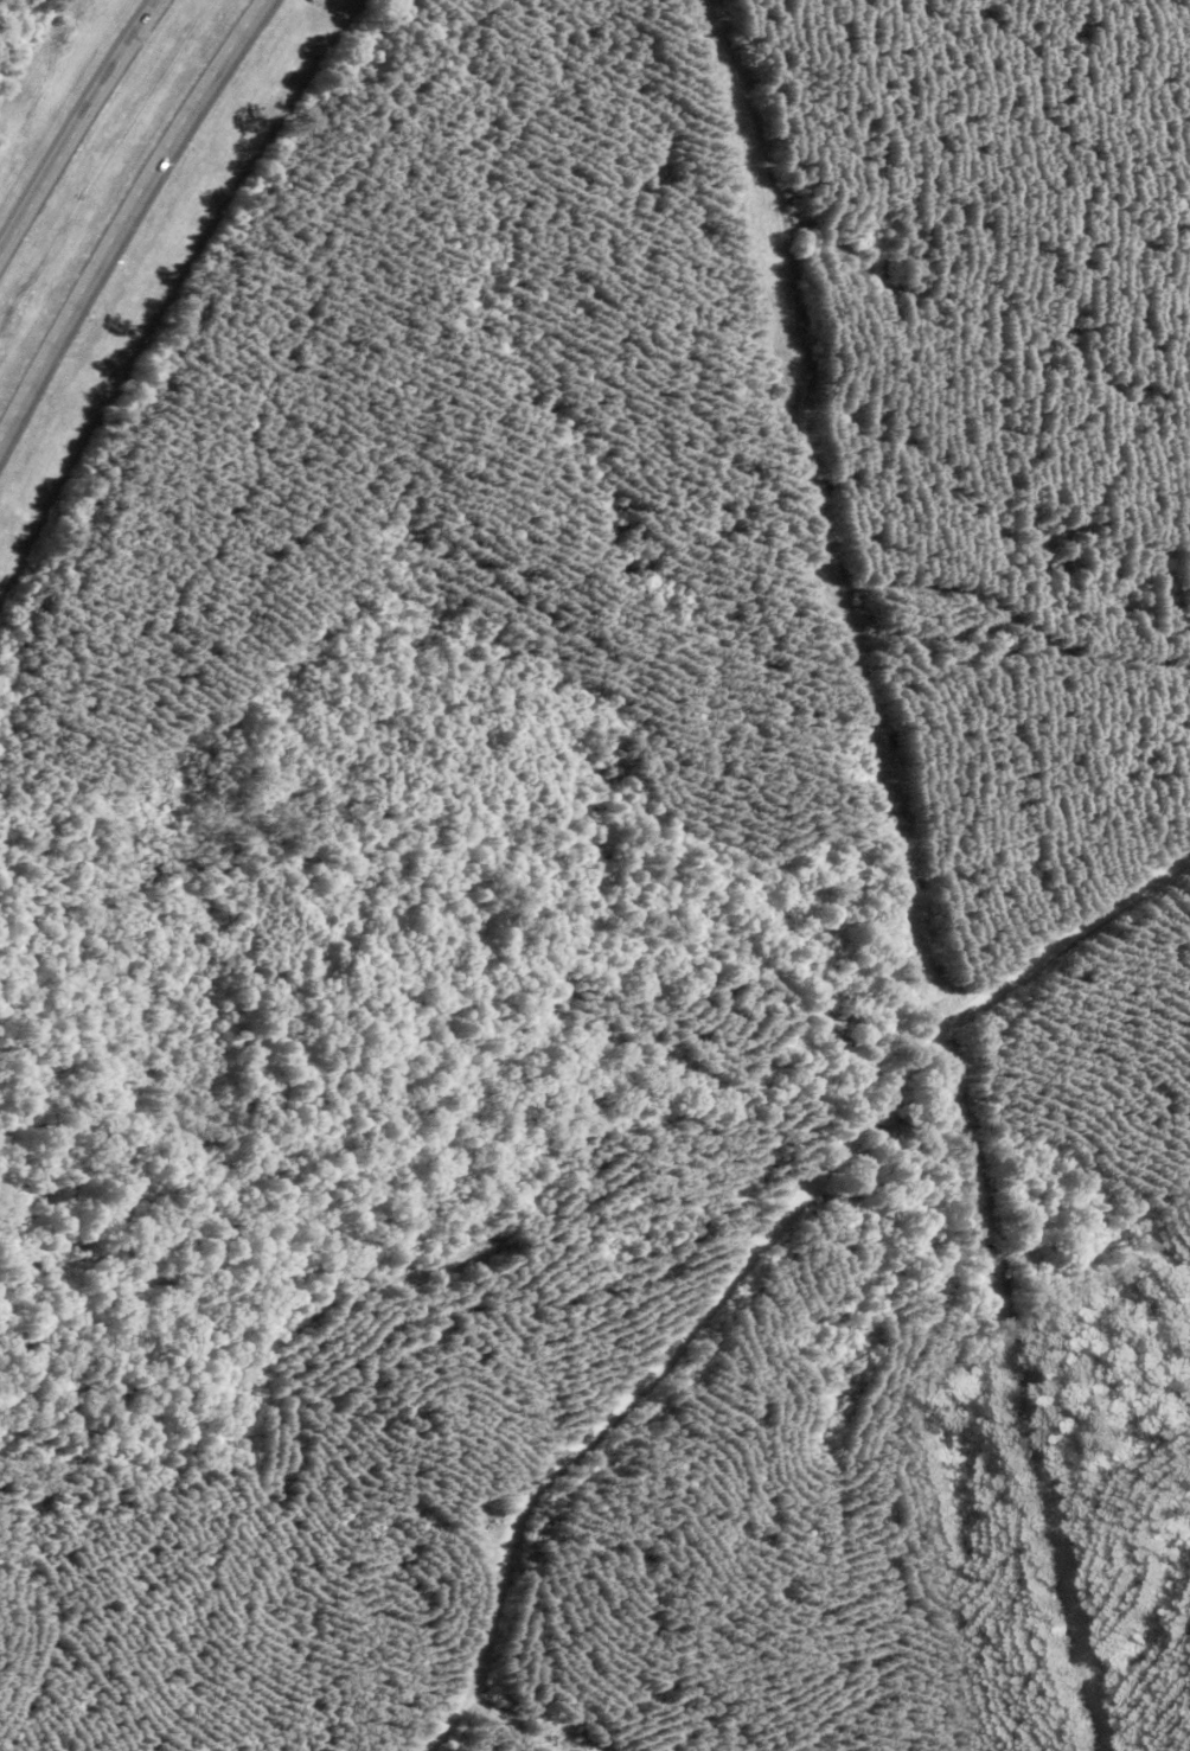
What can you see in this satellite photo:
road: (76, 124)
road: (124, 216)
road: (750, 1259)

